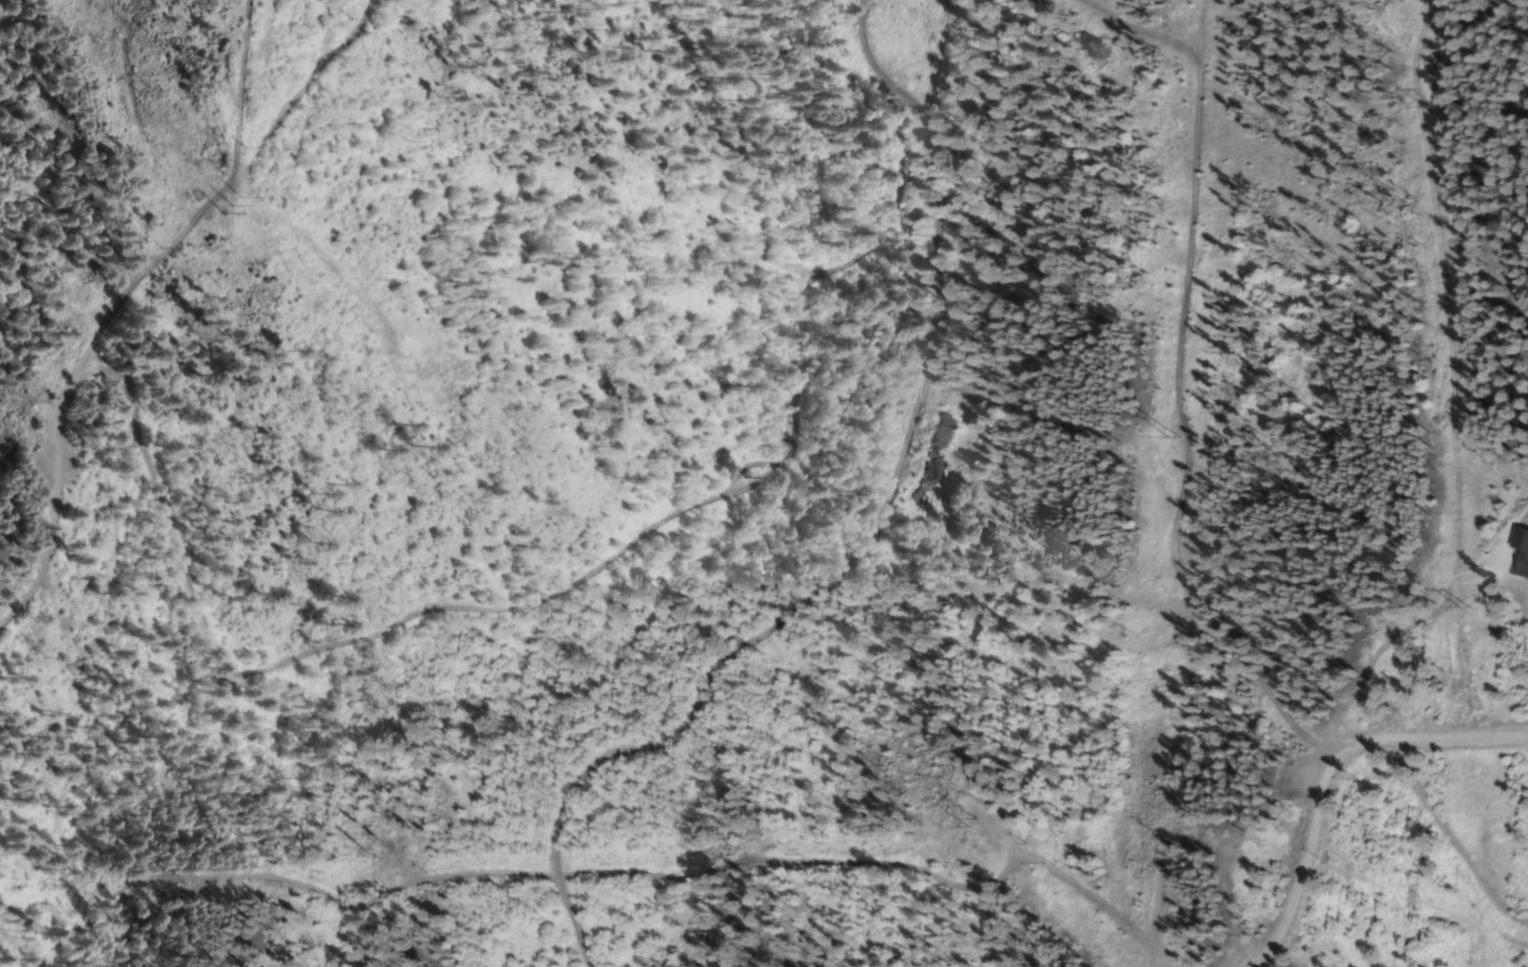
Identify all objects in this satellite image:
power tower: (1174, 437)
building: (1524, 536)
building: (1526, 567)
road: (1326, 770)

